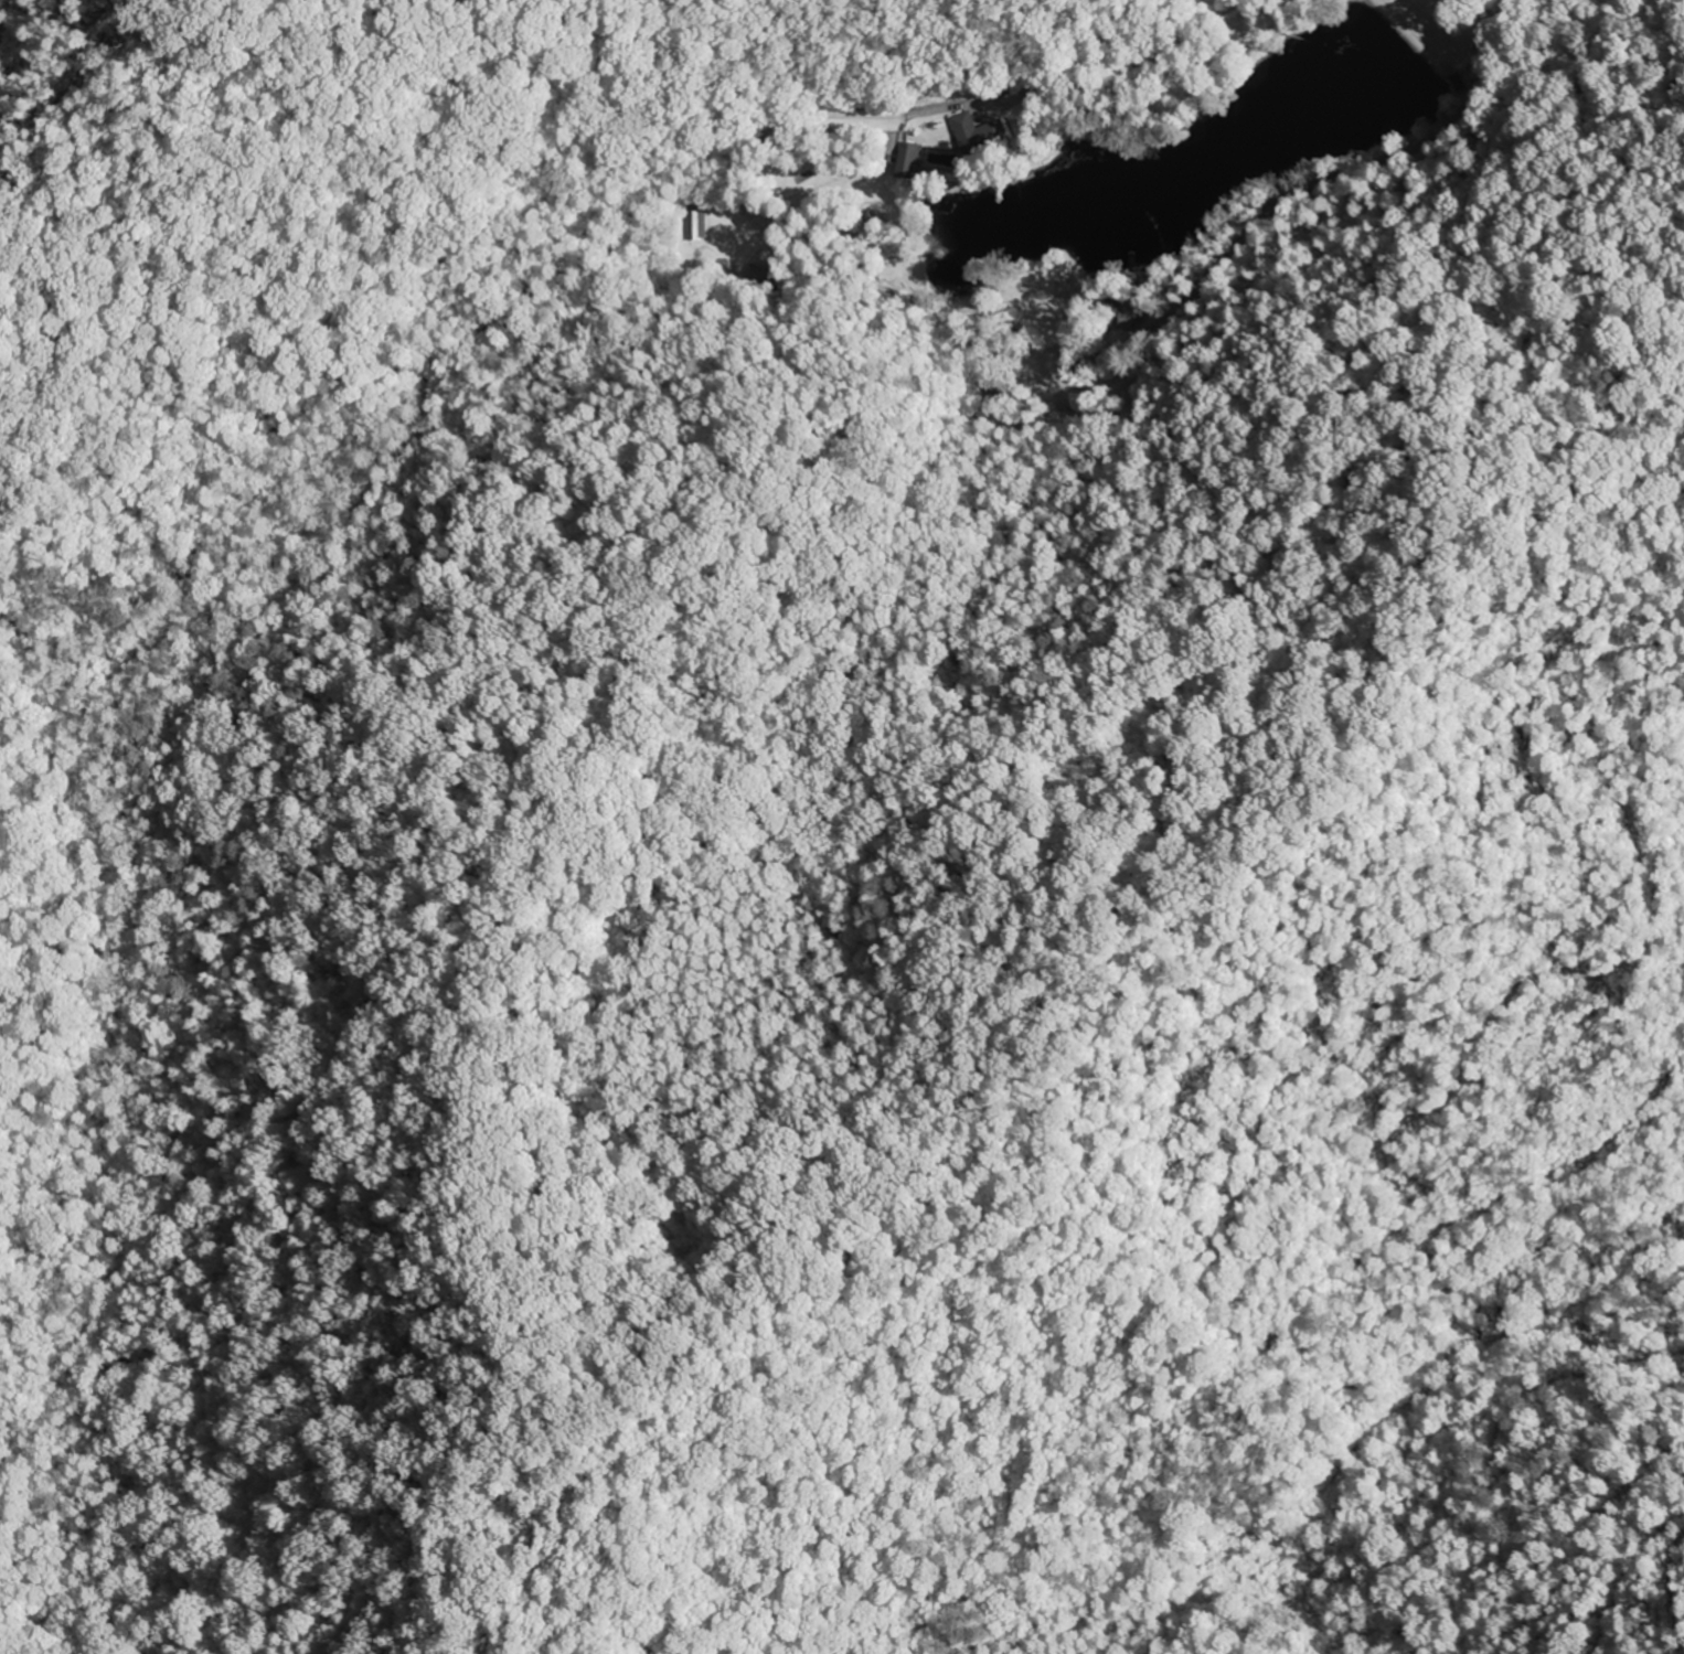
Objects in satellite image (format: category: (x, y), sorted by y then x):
building: (981, 134)
building: (907, 161)
building: (696, 223)
road: (891, 295)

